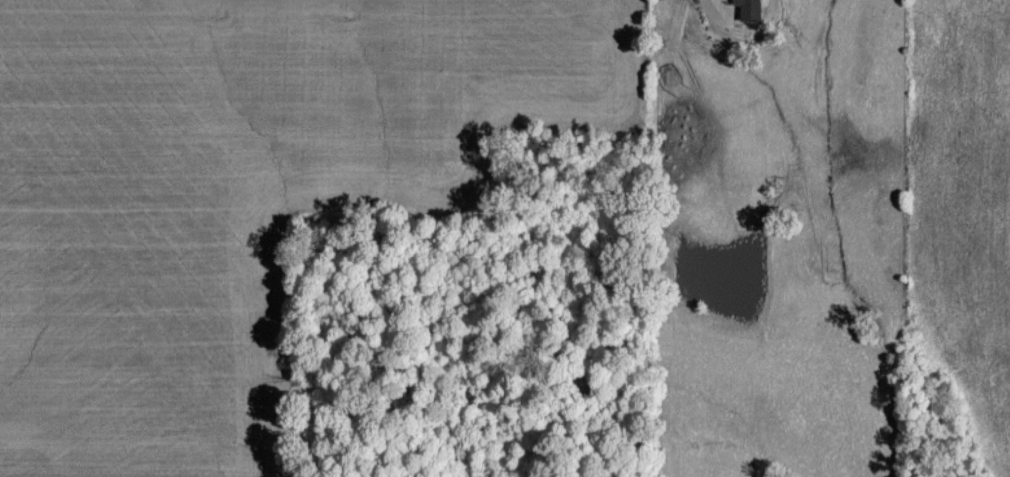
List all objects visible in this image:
building: (747, 9)

